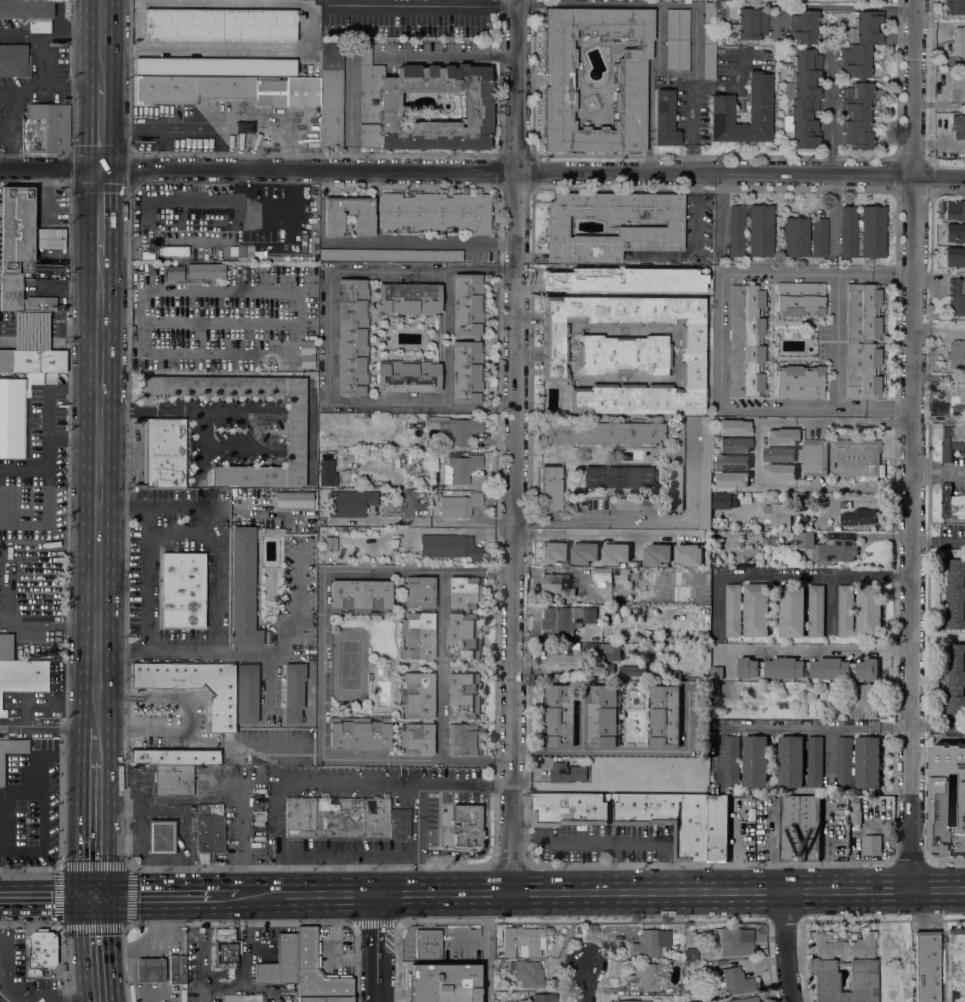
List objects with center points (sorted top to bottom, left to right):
road: (234, 5)
road: (648, 5)
road: (851, 6)
road: (426, 7)
building: (955, 7)
building: (30, 13)
building: (752, 24)
building: (220, 25)
parking lot: (12, 26)
building: (804, 27)
road: (59, 29)
road: (73, 30)
road: (22, 35)
building: (677, 40)
building: (959, 40)
road: (88, 41)
building: (709, 41)
building: (863, 43)
road: (212, 51)
road: (447, 54)
road: (659, 59)
building: (14, 61)
road: (309, 62)
road: (44, 63)
building: (216, 66)
building: (630, 78)
building: (958, 83)
road: (114, 84)
road: (22, 88)
road: (65, 88)
road: (691, 88)
building: (227, 90)
building: (331, 93)
building: (803, 98)
building: (379, 99)
building: (722, 102)
road: (16, 112)
building: (859, 113)
road: (830, 115)
parking lot: (4, 117)
building: (665, 119)
road: (87, 125)
road: (173, 126)
road: (241, 126)
building: (958, 126)
building: (45, 128)
road: (289, 130)
road: (6, 136)
building: (313, 136)
traffic signals: (87, 145)
road: (9, 151)
building: (963, 152)
road: (482, 172)
road: (292, 184)
road: (242, 185)
traffic signals: (114, 193)
building: (954, 210)
road: (114, 212)
building: (435, 212)
road: (145, 214)
building: (334, 216)
road: (834, 216)
building: (760, 230)
building: (650, 231)
building: (736, 231)
building: (849, 231)
building: (22, 232)
building: (872, 232)
building: (955, 233)
building: (795, 237)
building: (819, 237)
road: (423, 242)
road: (694, 243)
building: (171, 252)
building: (246, 253)
building: (389, 255)
building: (954, 257)
building: (280, 258)
building: (572, 264)
road: (504, 267)
building: (204, 271)
building: (639, 272)
building: (174, 273)
building: (595, 274)
road: (894, 274)
road: (940, 274)
building: (558, 277)
building: (11, 286)
road: (113, 287)
road: (282, 291)
building: (956, 297)
building: (409, 299)
building: (800, 299)
road: (99, 318)
road: (126, 318)
road: (941, 330)
road: (42, 336)
road: (328, 336)
road: (720, 336)
road: (113, 337)
building: (352, 337)
building: (476, 338)
building: (746, 340)
road: (837, 341)
building: (862, 341)
building: (625, 353)
building: (956, 353)
building: (306, 354)
road: (99, 356)
building: (32, 361)
building: (408, 376)
building: (799, 382)
building: (956, 392)
road: (504, 407)
road: (890, 408)
road: (237, 413)
road: (120, 414)
building: (13, 418)
road: (859, 422)
building: (731, 428)
building: (456, 429)
building: (603, 432)
building: (295, 434)
building: (781, 437)
building: (952, 441)
road: (198, 443)
road: (513, 445)
building: (734, 445)
road: (916, 445)
road: (84, 447)
building: (414, 447)
building: (481, 450)
building: (383, 451)
building: (163, 453)
building: (781, 454)
road: (759, 455)
building: (814, 457)
building: (855, 458)
building: (734, 462)
building: (677, 463)
building: (460, 468)
building: (326, 470)
road: (928, 470)
road: (952, 470)
building: (781, 471)
building: (705, 473)
building: (619, 478)
building: (734, 479)
building: (445, 487)
road: (859, 488)
building: (550, 489)
building: (294, 500)
building: (722, 501)
building: (350, 503)
building: (635, 503)
building: (952, 503)
building: (459, 505)
road: (689, 512)
building: (779, 513)
building: (860, 516)
road: (560, 518)
road: (464, 530)
building: (273, 531)
road: (604, 533)
road: (182, 537)
road: (940, 541)
building: (330, 544)
building: (450, 547)
building: (825, 548)
building: (553, 553)
building: (584, 553)
building: (615, 554)
building: (658, 554)
building: (689, 554)
building: (621, 573)
road: (903, 575)
building: (602, 576)
road: (776, 576)
road: (145, 577)
road: (218, 579)
building: (559, 582)
road: (5, 583)
building: (243, 588)
building: (183, 590)
building: (956, 593)
building: (360, 596)
building: (733, 610)
building: (757, 610)
building: (792, 610)
building: (845, 610)
building: (816, 611)
building: (869, 611)
road: (2, 617)
building: (417, 618)
building: (464, 618)
building: (567, 619)
road: (111, 626)
road: (288, 631)
road: (809, 647)
building: (604, 651)
road: (323, 663)
road: (440, 665)
building: (609, 667)
building: (808, 668)
building: (630, 670)
building: (19, 672)
building: (716, 677)
building: (955, 678)
building: (246, 693)
building: (293, 693)
building: (862, 701)
building: (417, 713)
building: (463, 713)
building: (560, 716)
building: (604, 716)
building: (665, 716)
building: (203, 721)
road: (40, 726)
road: (96, 727)
road: (794, 728)
road: (939, 728)
building: (360, 735)
road: (81, 744)
road: (96, 751)
building: (11, 752)
road: (628, 752)
building: (746, 761)
building: (791, 761)
building: (815, 761)
building: (844, 762)
building: (868, 762)
building: (626, 764)
building: (567, 773)
road: (23, 779)
building: (172, 780)
road: (331, 780)
road: (417, 794)
building: (947, 798)
road: (173, 801)
building: (856, 814)
building: (344, 818)
building: (193, 822)
building: (466, 825)
building: (619, 827)
road: (80, 828)
building: (718, 828)
building: (800, 828)
building: (209, 829)
building: (161, 837)
gas station: (161, 837)
road: (237, 838)
road: (590, 840)
building: (871, 844)
traffic signals: (80, 858)
road: (280, 858)
road: (612, 866)
road: (669, 866)
road: (499, 892)
road: (737, 893)
road: (366, 894)
road: (42, 896)
traffic signals: (56, 896)
traffic signals: (79, 896)
road: (94, 896)
traffic signals: (110, 896)
traffic signals: (143, 896)
road: (162, 896)
road: (230, 896)
road: (3, 897)
road: (59, 929)
traffic signals: (110, 936)
road: (250, 939)
building: (734, 941)
building: (522, 942)
building: (428, 944)
building: (645, 945)
road: (488, 947)
road: (787, 947)
road: (376, 948)
road: (80, 949)
road: (110, 949)
building: (226, 949)
building: (41, 952)
building: (691, 954)
road: (205, 956)
building: (280, 962)
building: (955, 965)
building: (821, 966)
building: (926, 966)
building: (150, 970)
gas station: (150, 970)
building: (177, 970)
building: (317, 971)
parking lot: (20, 973)
building: (527, 973)
building: (647, 976)
building: (733, 981)
building: (444, 982)
road: (586, 983)
road: (6, 984)
building: (681, 986)
road: (205, 991)
building: (497, 994)
building: (544, 998)
building: (242, 999)
building: (325, 1000)
building: (745, 1000)
building: (631, 1001)

